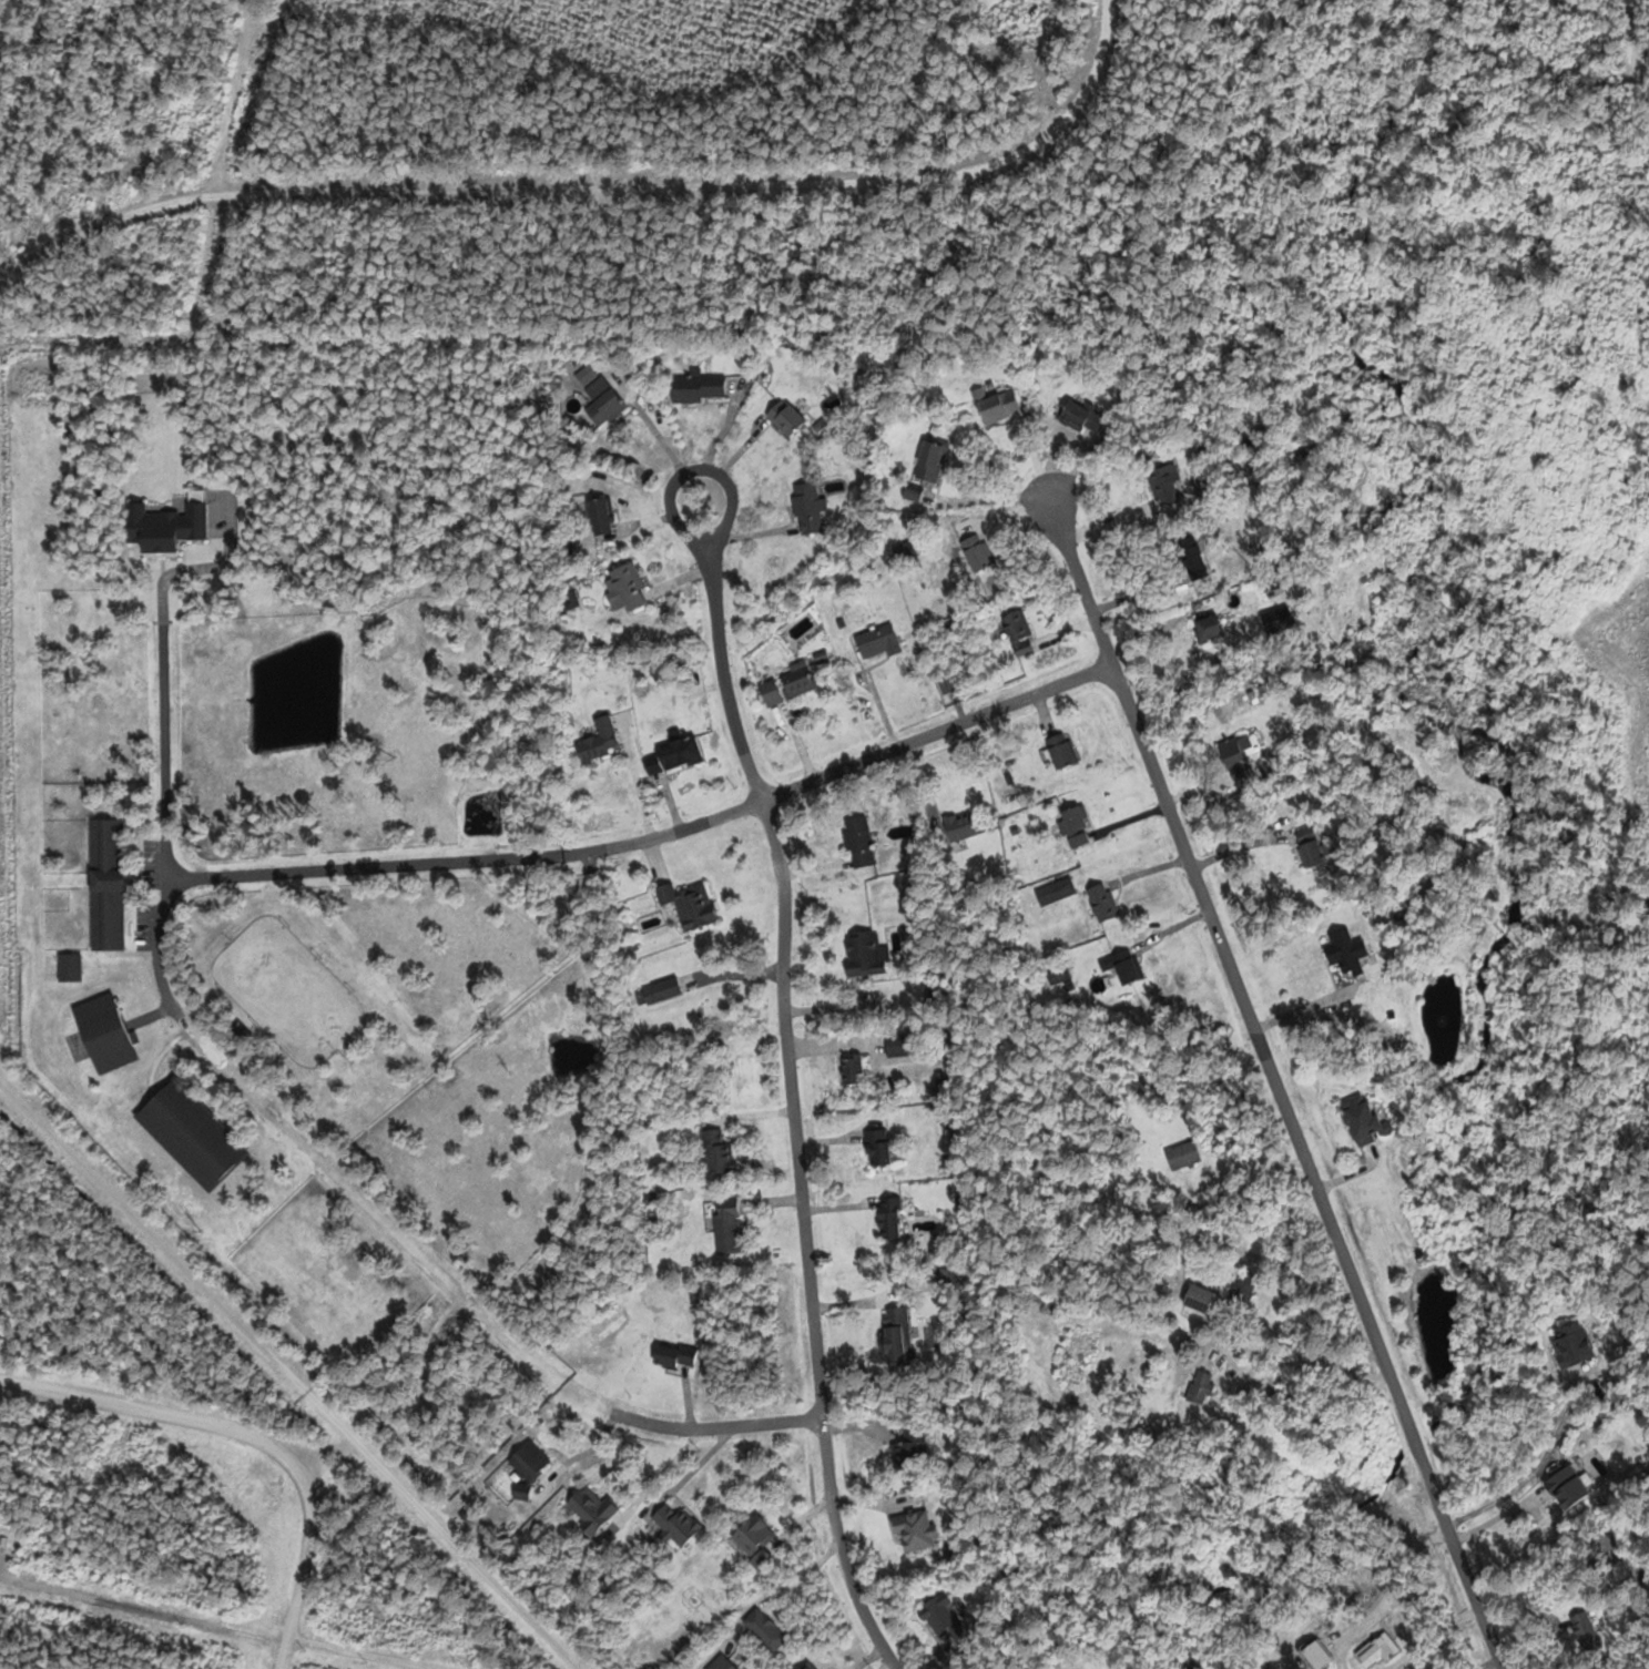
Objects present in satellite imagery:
road: (1635, 41)
building: (696, 387)
building: (598, 391)
building: (997, 407)
building: (1081, 417)
building: (784, 418)
building: (928, 461)
building: (1162, 486)
building: (807, 508)
building: (599, 517)
building: (973, 553)
building: (624, 588)
building: (1016, 627)
building: (1207, 629)
building: (878, 644)
building: (785, 685)
road: (163, 730)
building: (598, 741)
building: (1058, 752)
building: (671, 756)
building: (1233, 760)
road: (839, 771)
building: (1071, 822)
building: (958, 826)
building: (857, 842)
building: (1309, 847)
road: (363, 866)
building: (1055, 891)
building: (1100, 902)
building: (690, 904)
building: (1343, 953)
building: (862, 954)
building: (1119, 968)
building: (897, 1045)
building: (851, 1069)
road: (1271, 1071)
road: (791, 1087)
building: (1360, 1117)
building: (876, 1147)
building: (715, 1151)
building: (1182, 1154)
building: (887, 1217)
building: (726, 1225)
building: (1242, 1288)
building: (895, 1332)
building: (1571, 1346)
building: (1077, 1356)
road: (288, 1375)
road: (1296, 1384)
building: (1199, 1387)
road: (666, 1425)
road: (179, 1427)
building: (1133, 1434)
building: (904, 1453)
building: (528, 1465)
road: (1530, 1472)
building: (1567, 1486)
building: (590, 1509)
building: (674, 1525)
building: (914, 1529)
building: (751, 1540)
road: (311, 1566)
road: (1380, 1588)
building: (941, 1626)
building: (764, 1629)
building: (1582, 1630)
building: (1316, 1655)
building: (720, 1663)
building: (804, 1666)

